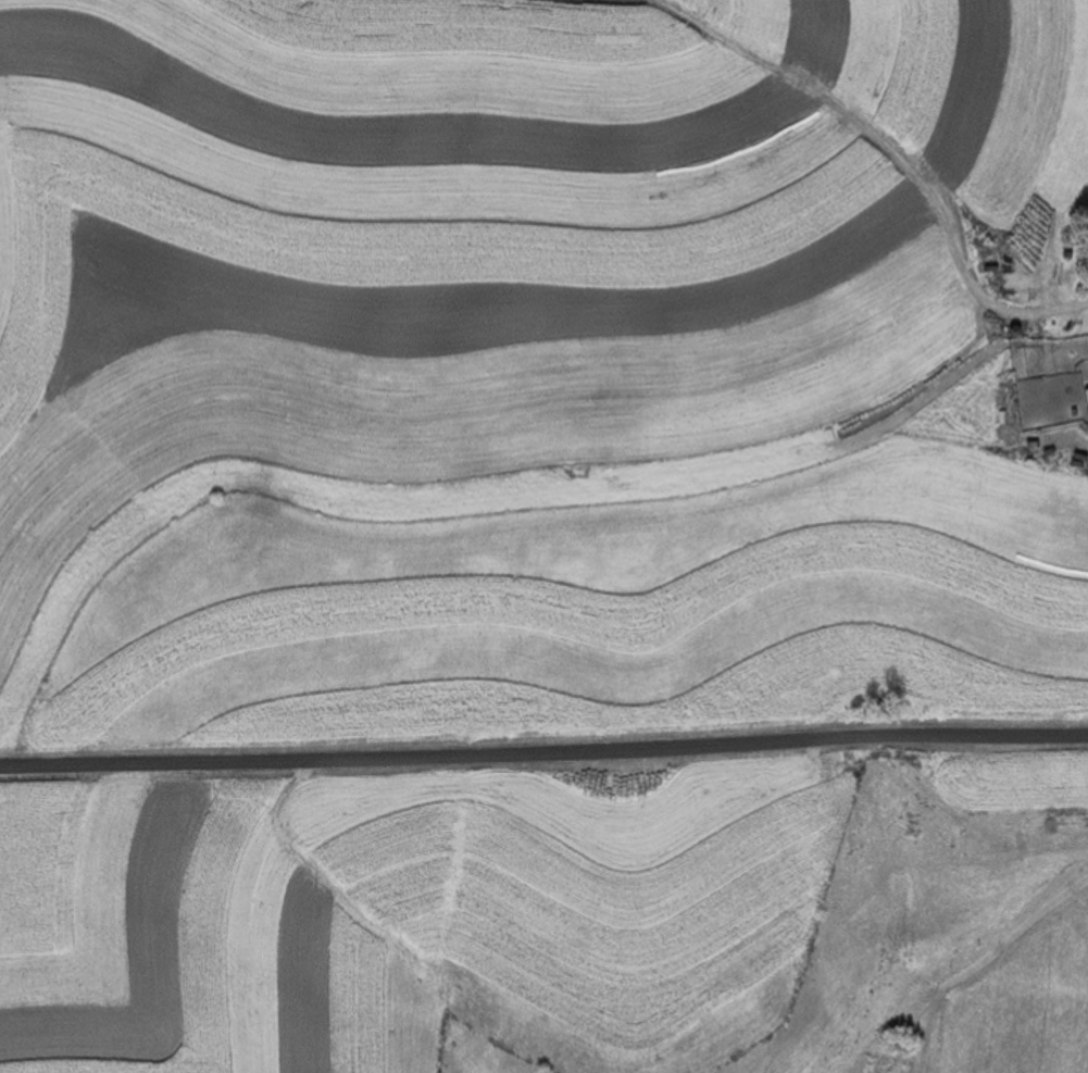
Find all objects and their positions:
building: (1085, 385)
road: (543, 751)

